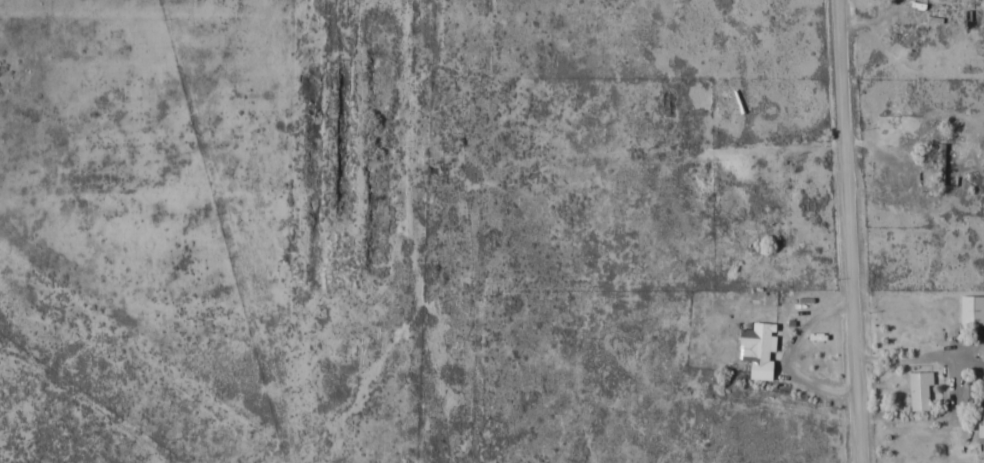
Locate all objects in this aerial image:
road: (849, 231)
building: (972, 310)
building: (758, 348)
building: (920, 391)
building: (973, 395)

